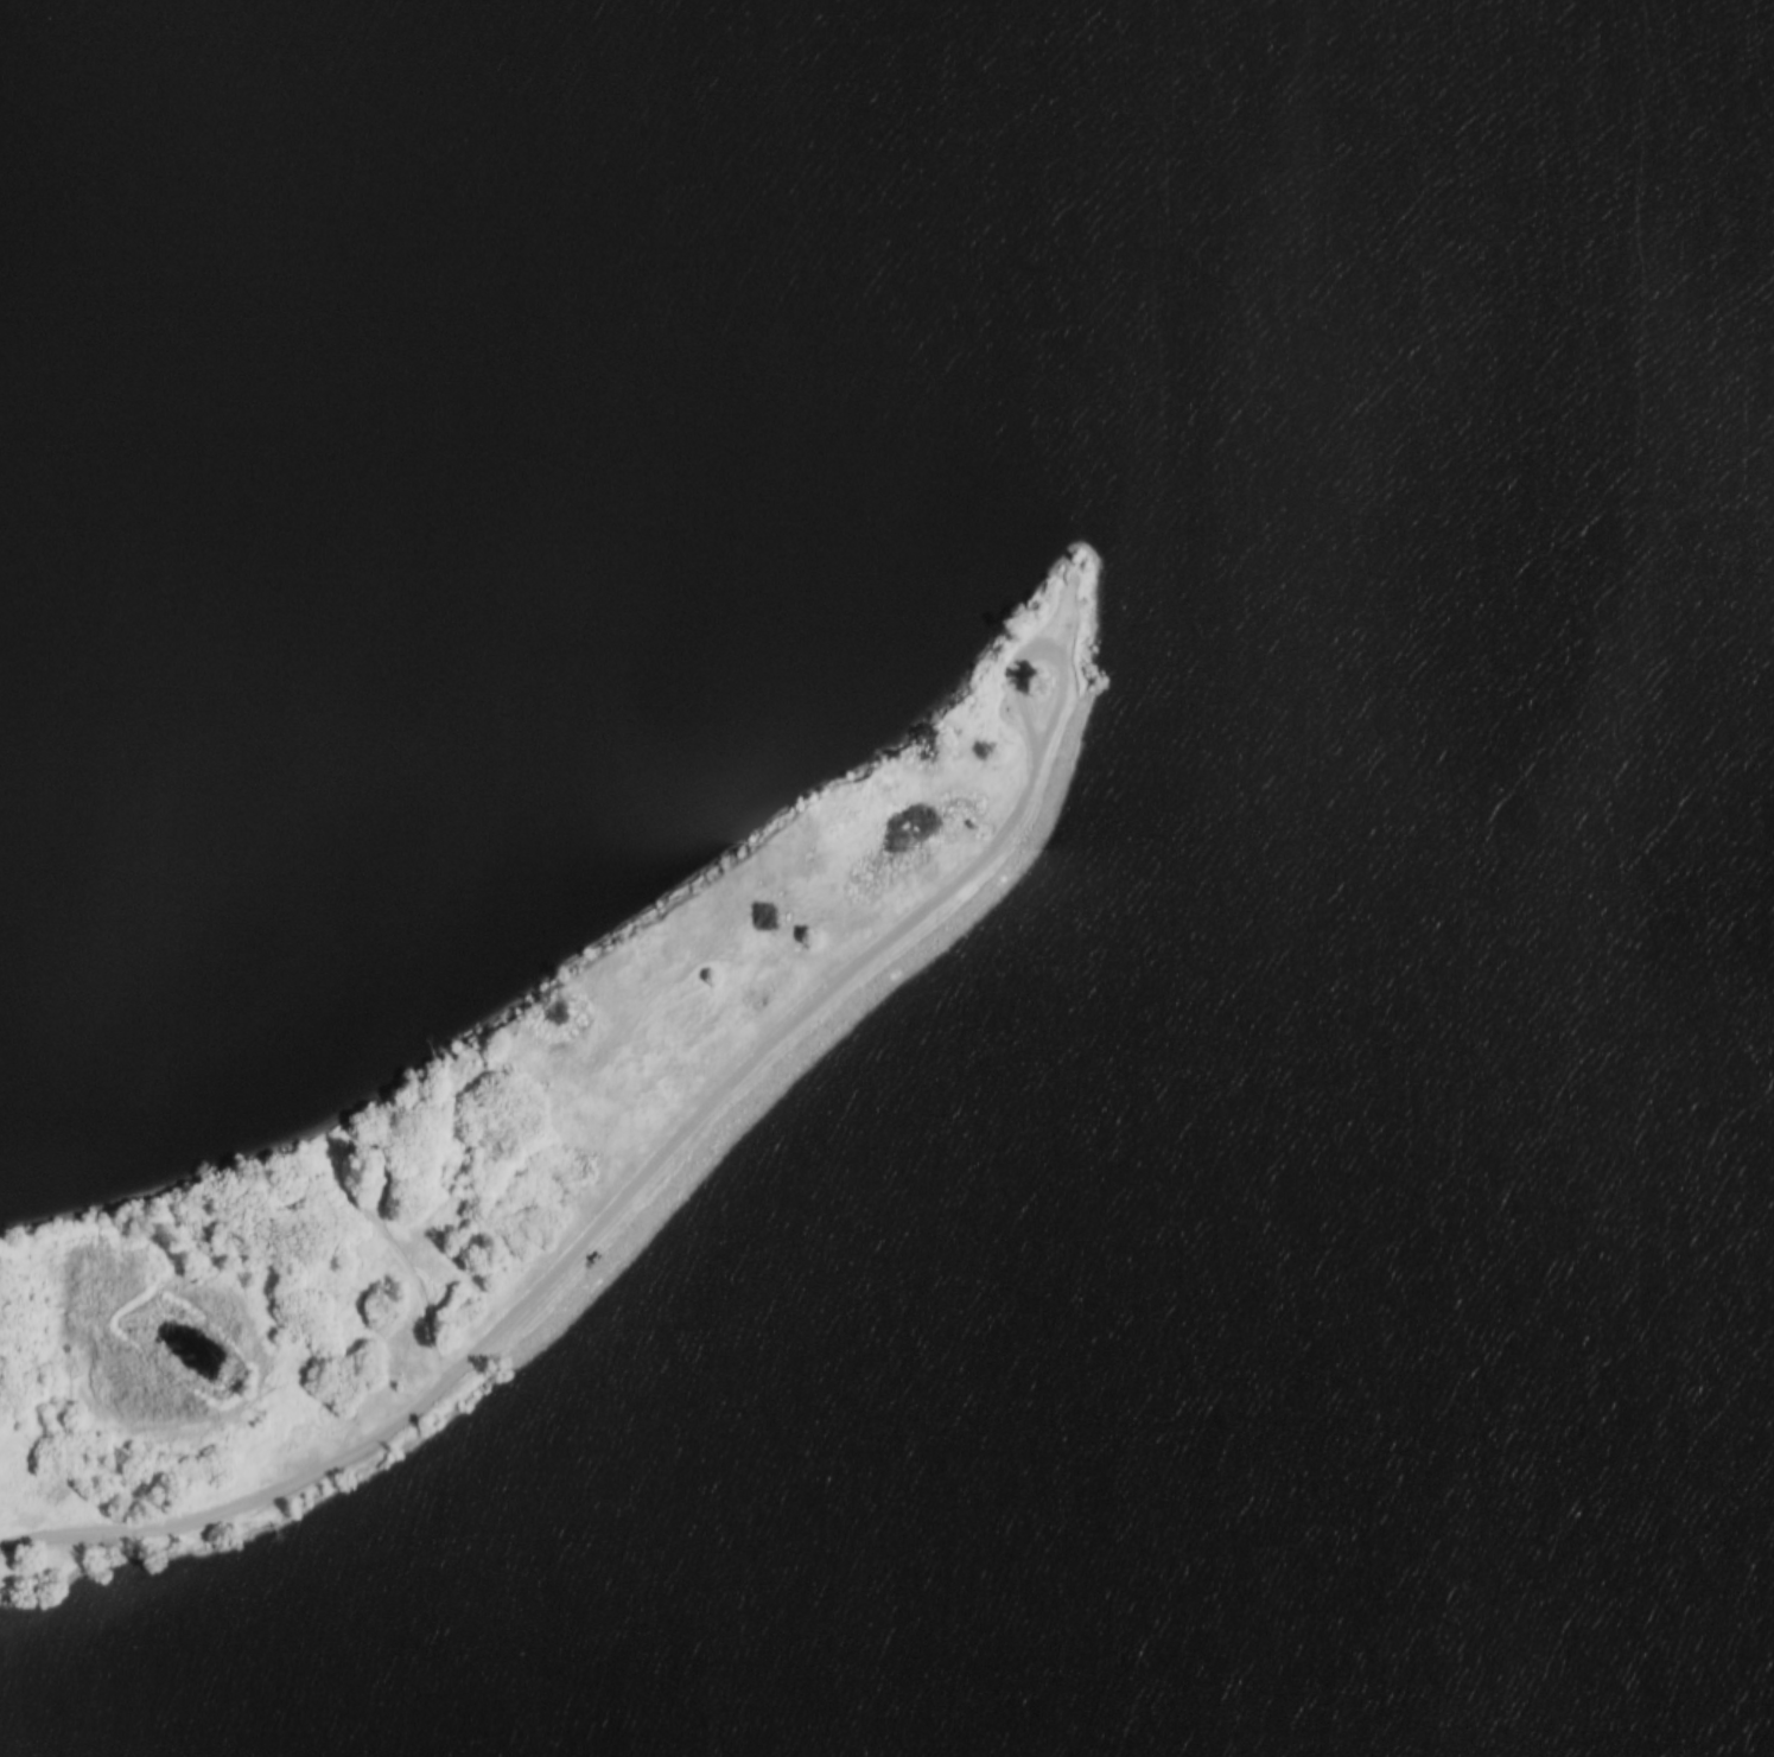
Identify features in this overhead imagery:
road: (1038, 654)
road: (362, 1223)
road: (581, 1250)

